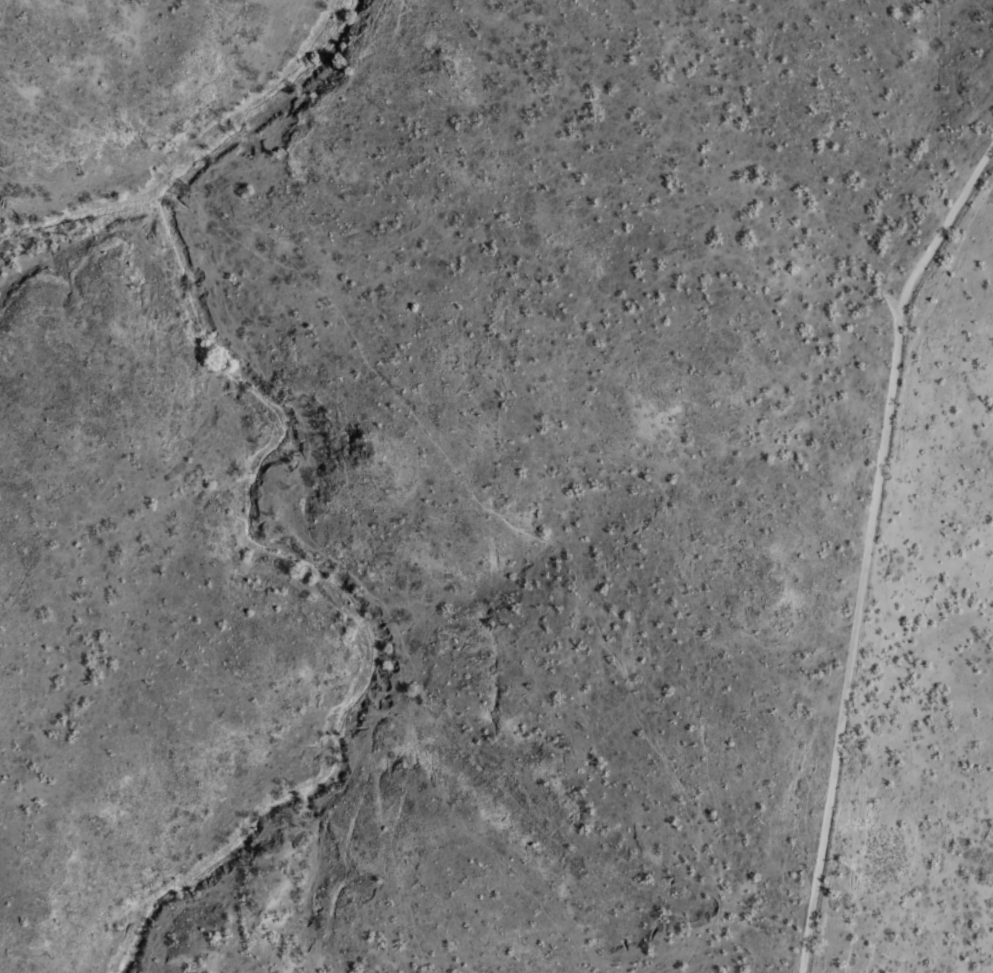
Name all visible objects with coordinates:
road: (876, 553)

